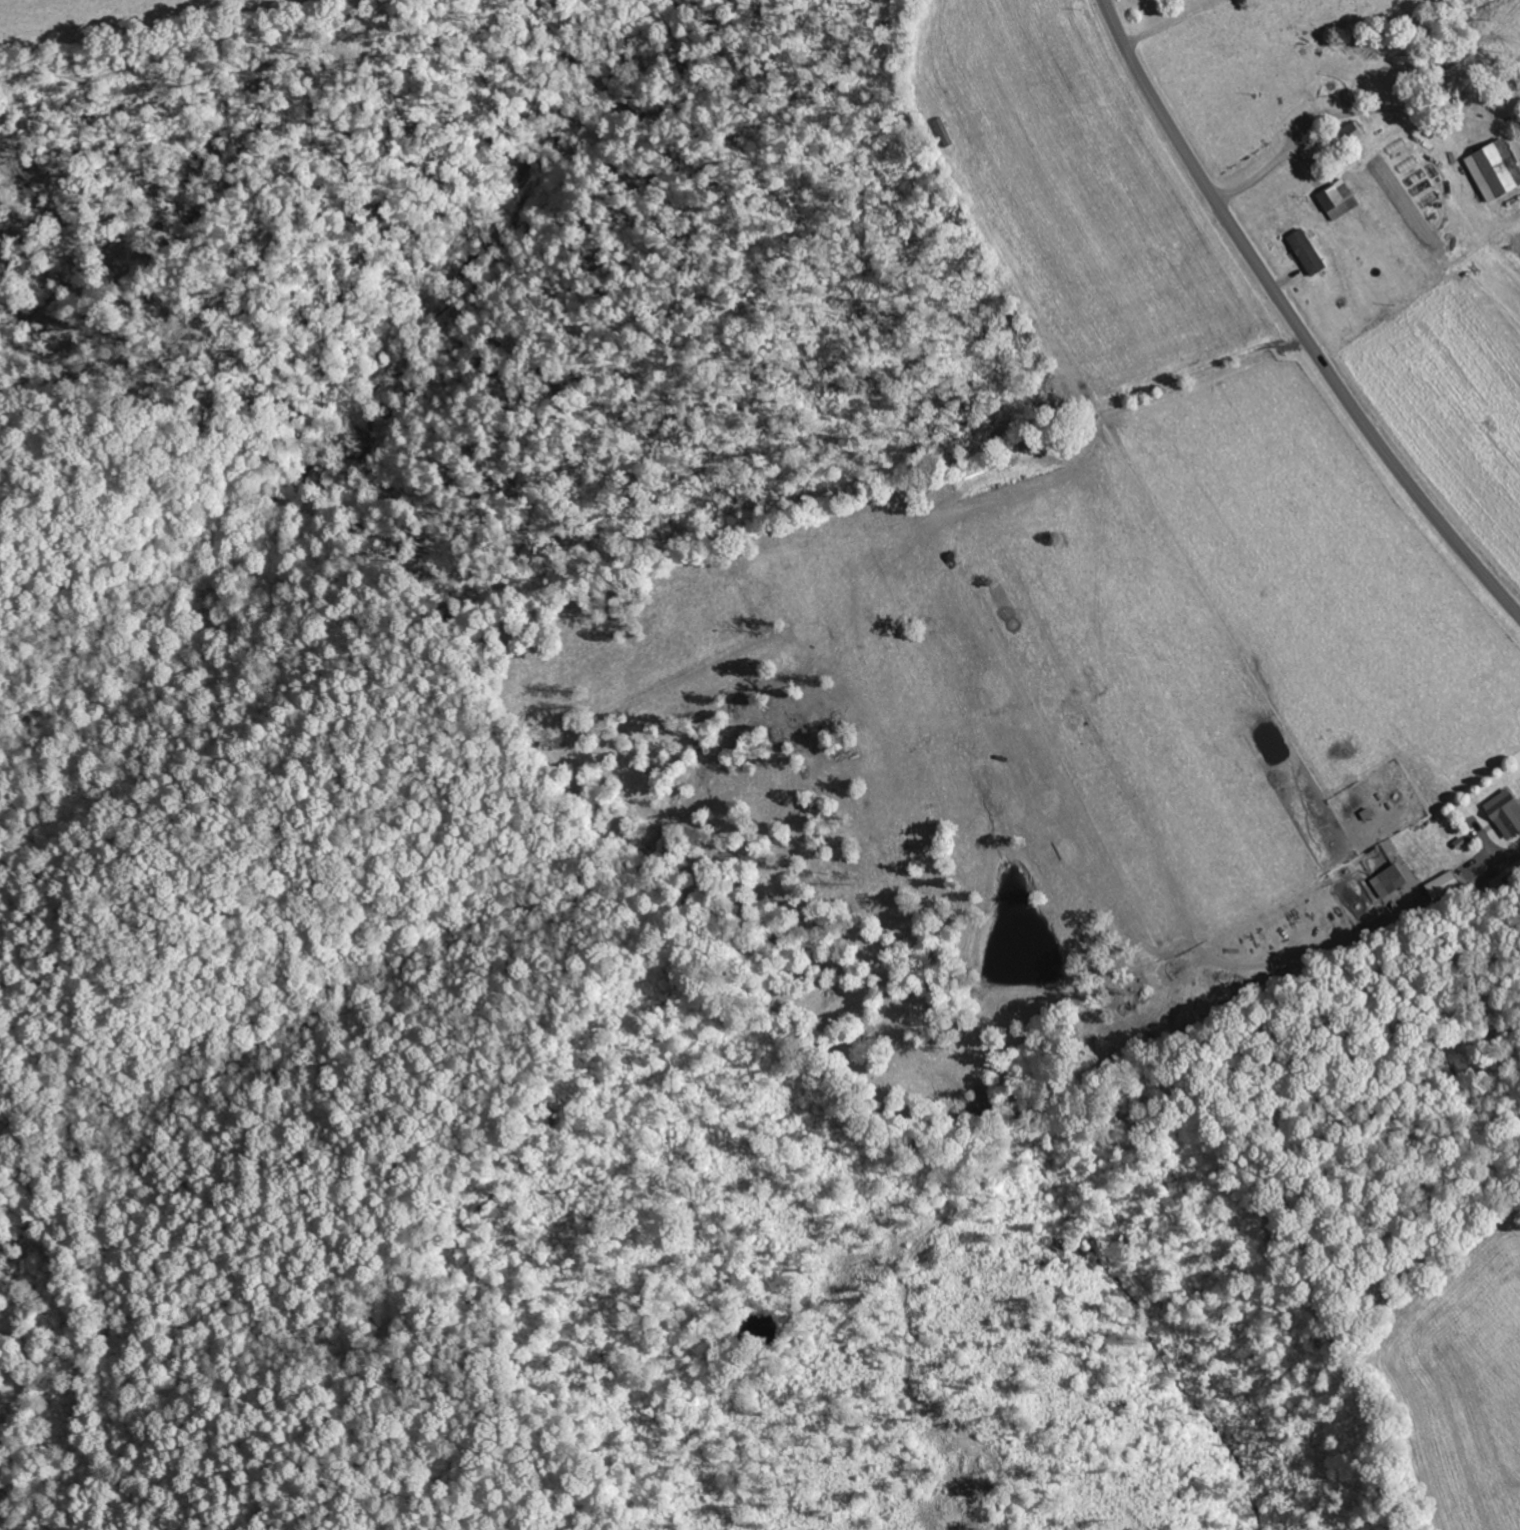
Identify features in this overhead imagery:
road: (1348, 92)
building: (1497, 169)
building: (1340, 199)
building: (1308, 251)
road: (1293, 320)
building: (1507, 812)
building: (1391, 880)

